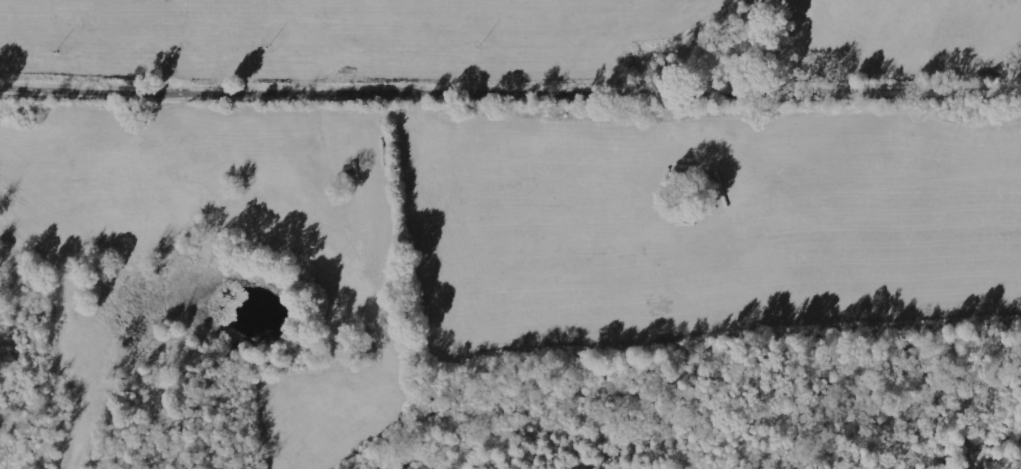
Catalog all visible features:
road: (510, 96)

